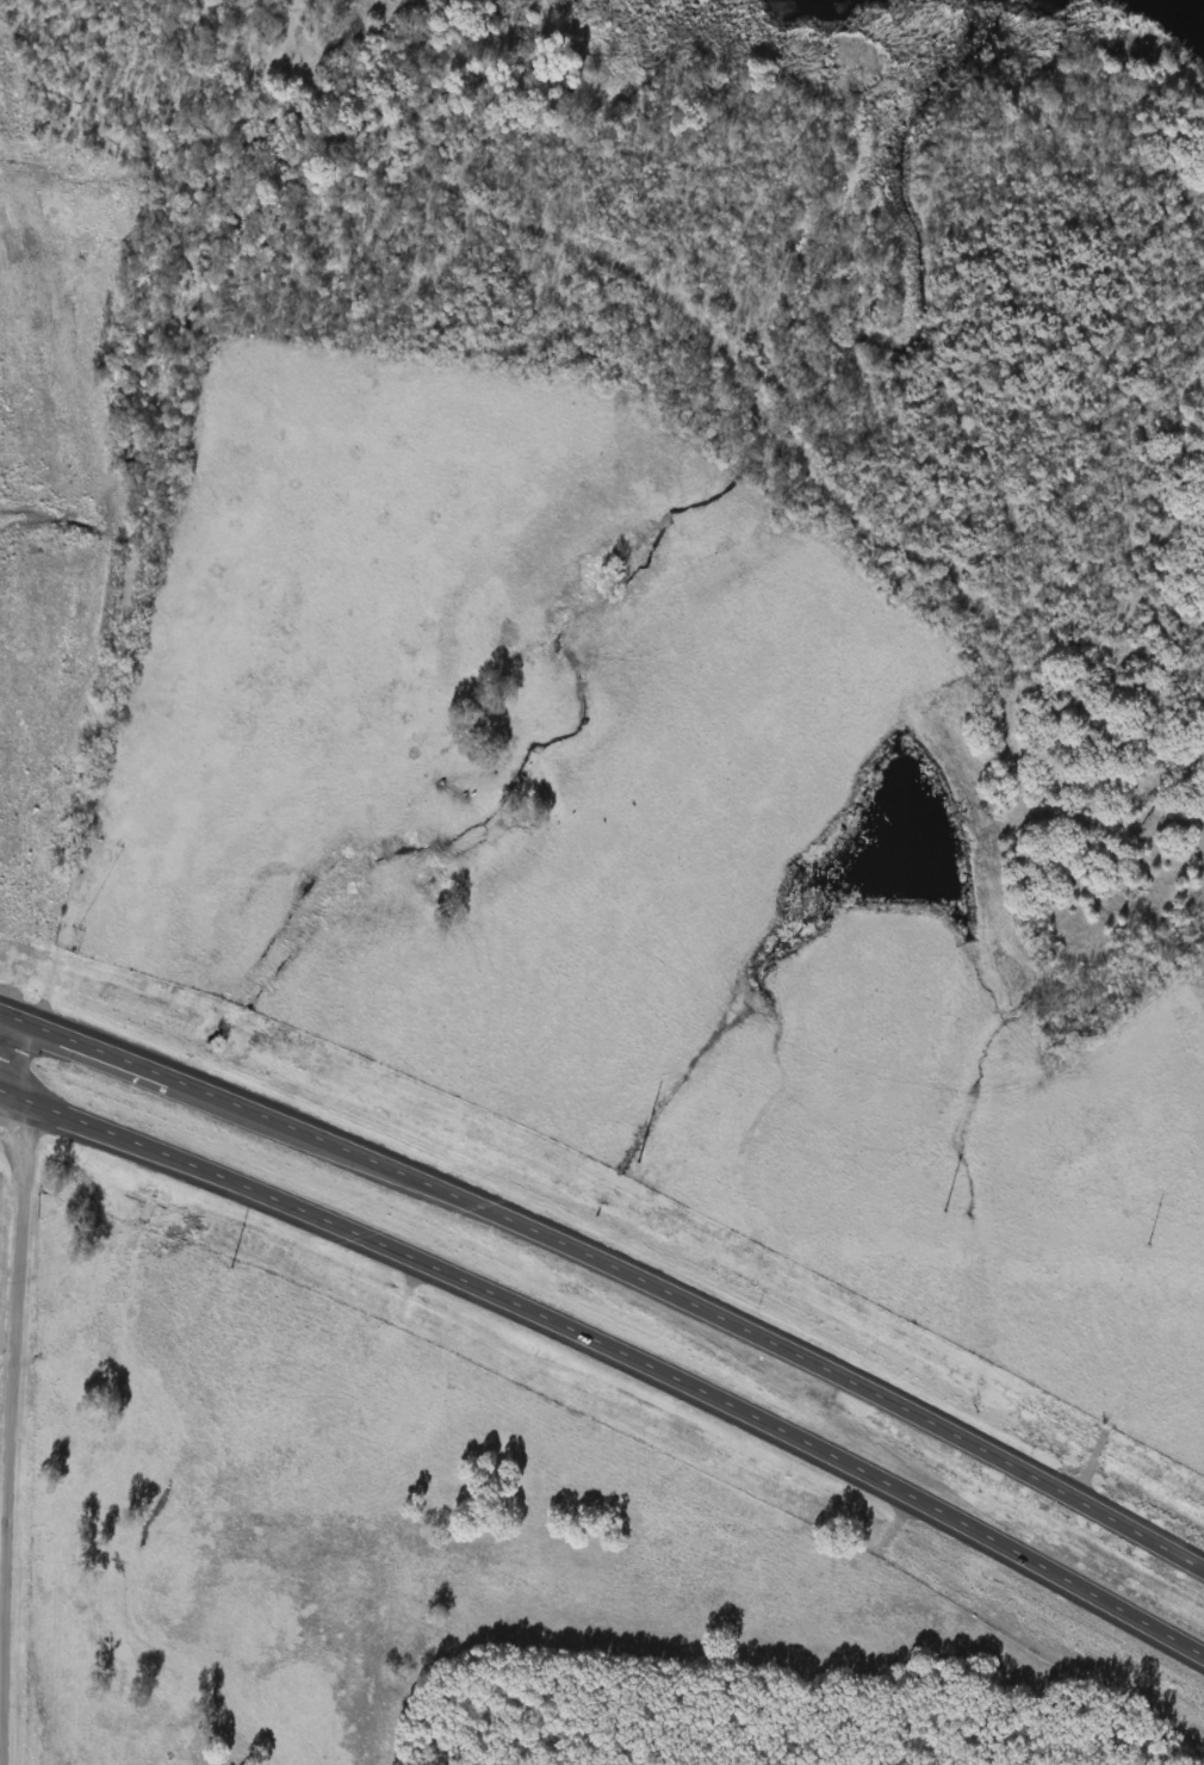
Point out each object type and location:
road: (12, 1047)
power tower: (640, 1162)
power tower: (945, 1210)
power tower: (1148, 1243)
road: (612, 1265)
power tower: (231, 1268)
road: (612, 1350)
road: (13, 1429)

